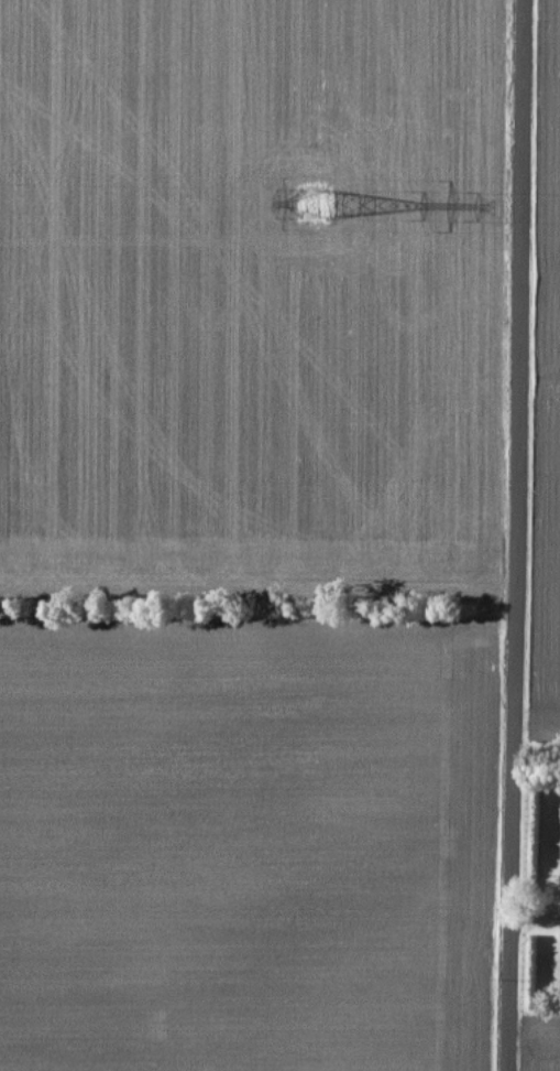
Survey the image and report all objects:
power tower: (317, 204)
road: (508, 534)
road: (531, 911)

